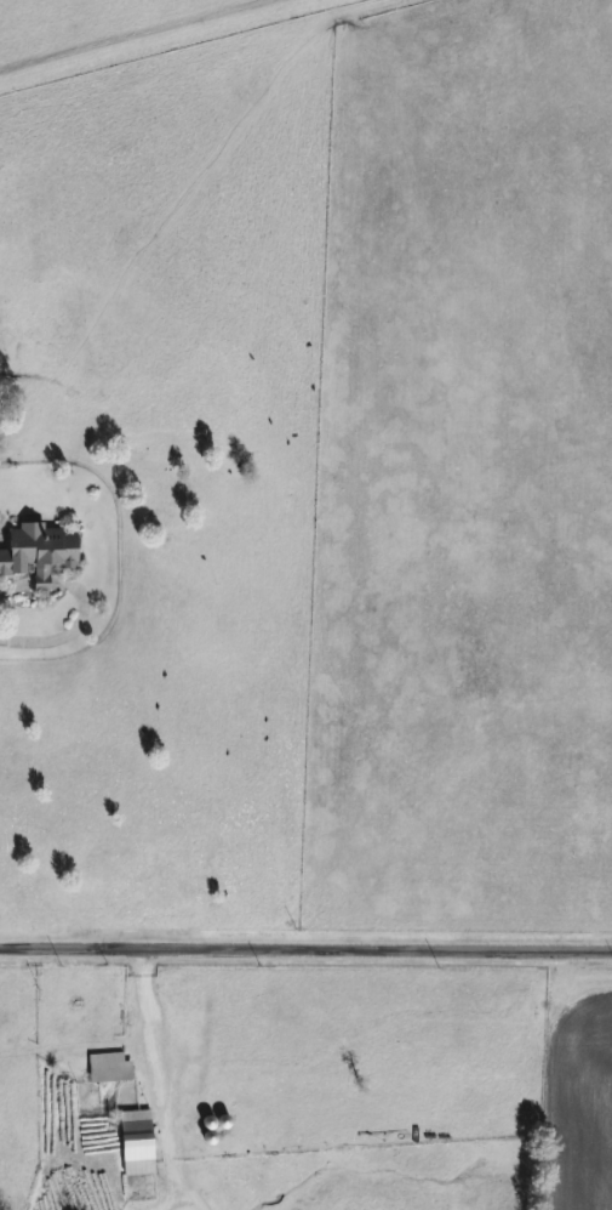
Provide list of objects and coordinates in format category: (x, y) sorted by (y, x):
building: (42, 551)
road: (67, 627)
road: (305, 948)
road: (150, 1051)
building: (113, 1066)
building: (141, 1141)

